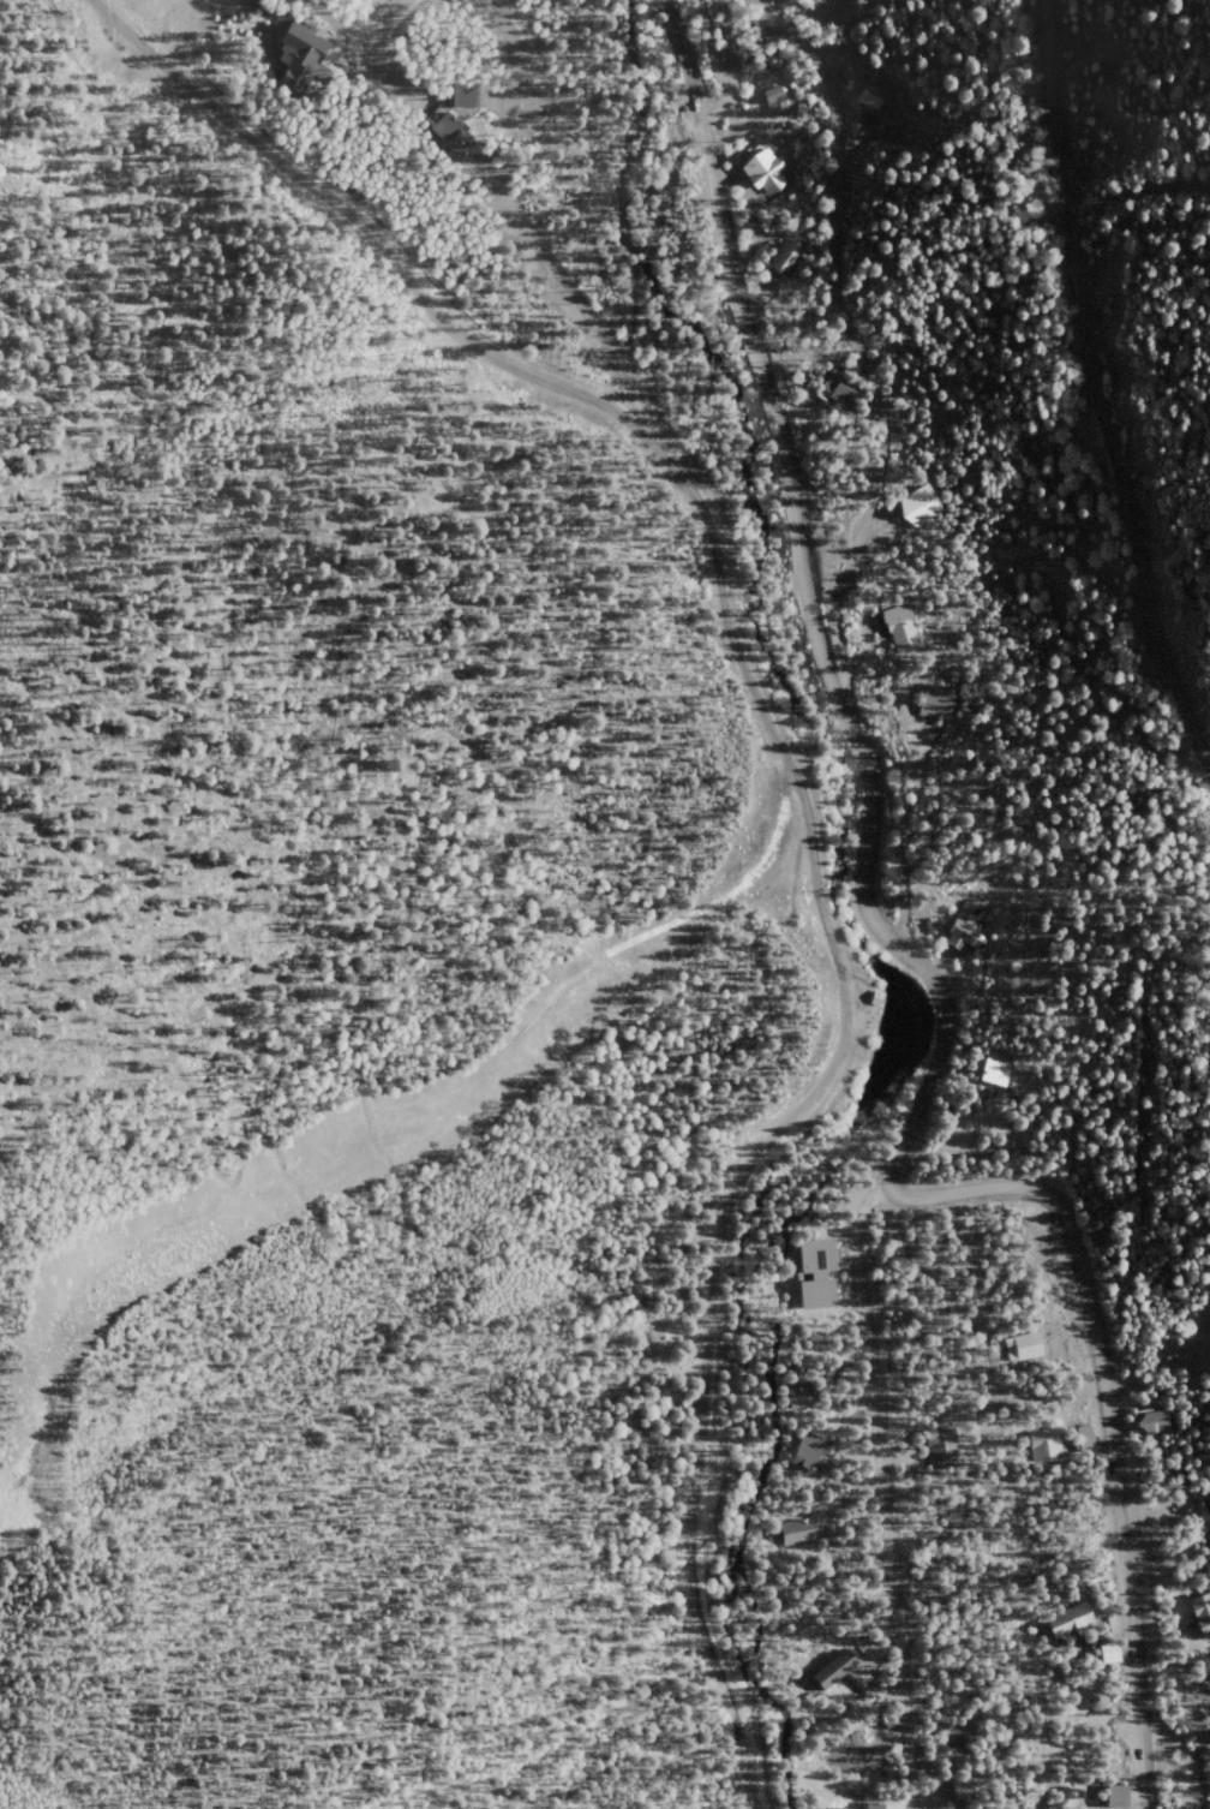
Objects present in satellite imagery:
road: (382, 24)
road: (513, 52)
building: (302, 55)
road: (730, 65)
building: (463, 94)
building: (773, 95)
building: (873, 103)
building: (448, 133)
building: (767, 174)
building: (787, 259)
building: (910, 340)
road: (852, 341)
road: (1101, 381)
building: (839, 393)
building: (921, 507)
road: (810, 608)
building: (901, 626)
building: (940, 701)
road: (805, 777)
building: (966, 929)
building: (876, 993)
ski resort: (371, 996)
building: (999, 1073)
road: (396, 1264)
building: (811, 1273)
building: (1025, 1348)
building: (793, 1391)
road: (1108, 1408)
building: (1155, 1423)
building: (1086, 1439)
building: (942, 1447)
building: (1046, 1447)
building: (813, 1452)
road: (1001, 1474)
road: (881, 1486)
building: (1204, 1517)
building: (798, 1533)
building: (1203, 1616)
building: (1067, 1620)
building: (1074, 1630)
building: (1110, 1656)
building: (820, 1678)
building: (1205, 1700)
building: (1097, 1701)
storage tank: (1097, 1701)
building: (959, 1737)
building: (886, 1761)
building: (964, 1791)
building: (1113, 1796)
building: (876, 1805)
building: (829, 1808)

